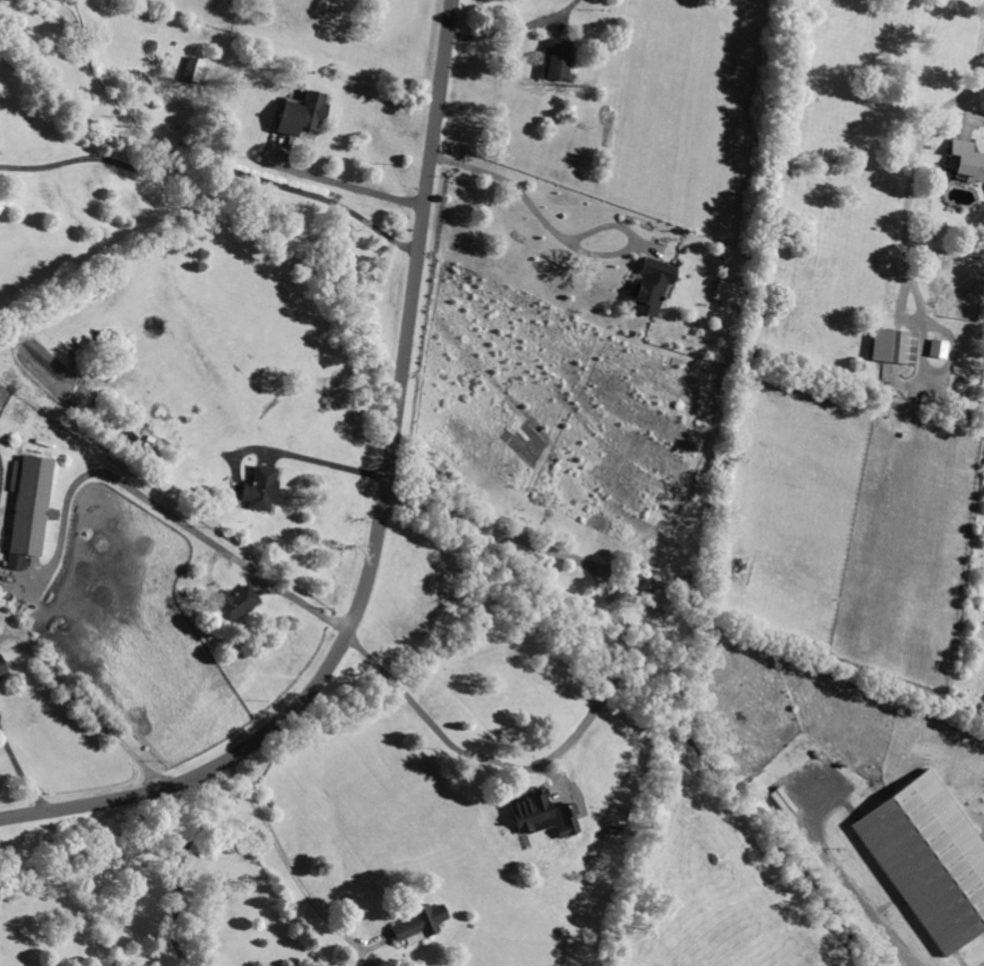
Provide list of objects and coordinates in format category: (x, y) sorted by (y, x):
road: (519, 30)
building: (555, 60)
building: (191, 70)
building: (299, 115)
road: (917, 152)
building: (964, 161)
road: (218, 166)
road: (348, 187)
road: (541, 204)
building: (647, 287)
building: (724, 292)
building: (892, 347)
building: (936, 349)
road: (337, 466)
building: (258, 490)
building: (28, 511)
road: (379, 522)
building: (233, 604)
building: (1, 671)
road: (82, 701)
road: (492, 750)
road: (27, 764)
building: (539, 815)
road: (281, 841)
building: (928, 861)
road: (182, 870)
road: (844, 880)
building: (417, 925)

